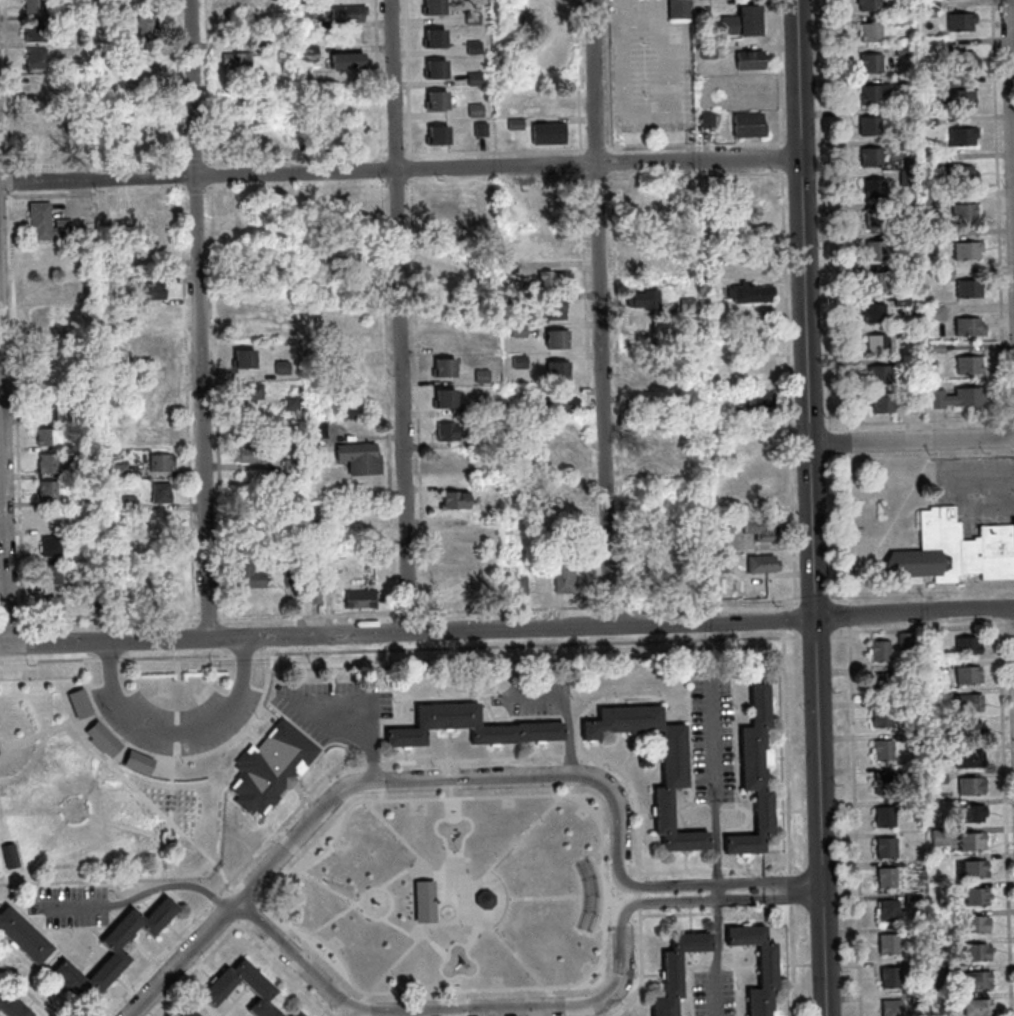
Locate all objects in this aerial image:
building: (233, 5)
building: (867, 5)
building: (928, 5)
building: (32, 7)
building: (432, 7)
building: (676, 9)
building: (347, 12)
building: (471, 17)
building: (900, 19)
building: (301, 21)
building: (740, 21)
building: (959, 21)
building: (145, 29)
building: (36, 32)
building: (869, 32)
building: (433, 39)
building: (273, 43)
building: (473, 47)
building: (901, 51)
building: (706, 52)
building: (307, 53)
building: (36, 58)
building: (748, 60)
building: (961, 60)
building: (235, 61)
building: (346, 61)
building: (869, 63)
building: (434, 70)
building: (473, 79)
road: (207, 80)
road: (376, 80)
road: (797, 80)
building: (958, 80)
road: (177, 81)
building: (900, 83)
road: (6, 84)
building: (37, 85)
road: (1011, 88)
building: (872, 93)
building: (956, 99)
building: (435, 101)
building: (474, 111)
building: (40, 114)
building: (903, 114)
building: (926, 119)
building: (706, 120)
building: (514, 125)
building: (747, 125)
building: (868, 126)
building: (479, 129)
building: (547, 134)
building: (436, 135)
building: (961, 136)
building: (904, 144)
building: (39, 145)
road: (493, 152)
road: (579, 152)
road: (409, 157)
building: (870, 157)
road: (195, 158)
building: (928, 160)
road: (94, 161)
road: (2, 164)
road: (580, 164)
road: (409, 168)
road: (379, 169)
road: (399, 171)
road: (210, 173)
road: (180, 174)
building: (961, 177)
building: (906, 178)
road: (9, 179)
road: (580, 179)
road: (493, 182)
road: (181, 187)
road: (195, 188)
building: (873, 188)
road: (95, 191)
road: (3, 195)
building: (930, 198)
building: (905, 207)
building: (964, 212)
road: (410, 214)
road: (840, 215)
building: (446, 217)
road: (997, 218)
building: (875, 219)
building: (46, 223)
road: (581, 224)
building: (932, 236)
building: (908, 239)
building: (873, 250)
building: (966, 250)
road: (186, 262)
building: (508, 269)
building: (706, 271)
building: (908, 271)
building: (942, 273)
building: (553, 279)
building: (874, 281)
building: (44, 289)
building: (967, 289)
building: (154, 290)
building: (749, 293)
building: (81, 294)
building: (530, 296)
building: (642, 299)
road: (785, 301)
building: (900, 301)
road: (412, 303)
building: (688, 304)
building: (285, 307)
building: (554, 309)
building: (873, 312)
road: (598, 313)
building: (934, 313)
building: (154, 315)
road: (398, 316)
building: (42, 317)
road: (197, 319)
building: (244, 322)
road: (585, 327)
building: (967, 327)
building: (74, 330)
building: (517, 331)
building: (555, 339)
building: (154, 344)
building: (876, 344)
building: (45, 348)
building: (934, 348)
building: (655, 351)
building: (757, 356)
building: (82, 360)
building: (243, 360)
building: (518, 362)
building: (967, 365)
building: (280, 368)
building: (442, 368)
building: (555, 371)
building: (877, 375)
building: (481, 376)
building: (46, 379)
building: (157, 389)
building: (248, 392)
road: (385, 395)
building: (955, 397)
building: (443, 400)
building: (759, 400)
road: (217, 402)
building: (290, 402)
building: (556, 403)
building: (880, 403)
building: (47, 407)
building: (481, 408)
road: (15, 409)
building: (351, 409)
building: (733, 412)
street lamp: (826, 415)
building: (76, 416)
road: (930, 420)
building: (157, 424)
building: (316, 430)
building: (445, 431)
building: (48, 436)
road: (187, 440)
building: (479, 440)
road: (910, 440)
road: (416, 441)
building: (640, 441)
road: (847, 441)
building: (295, 443)
building: (247, 450)
road: (920, 457)
building: (358, 458)
road: (817, 460)
building: (48, 461)
building: (162, 461)
building: (560, 464)
building: (290, 465)
building: (119, 469)
building: (288, 480)
building: (765, 484)
building: (513, 486)
building: (47, 490)
building: (161, 492)
building: (556, 493)
building: (664, 495)
road: (589, 500)
building: (89, 501)
building: (453, 501)
building: (127, 504)
road: (3, 517)
building: (49, 519)
building: (89, 527)
road: (849, 527)
building: (757, 529)
road: (419, 539)
building: (50, 545)
building: (953, 550)
building: (666, 555)
building: (760, 564)
building: (717, 565)
building: (52, 573)
building: (247, 577)
building: (291, 577)
building: (562, 577)
road: (421, 582)
building: (457, 584)
building: (518, 586)
road: (812, 588)
road: (920, 591)
building: (313, 596)
road: (813, 596)
building: (359, 599)
road: (709, 602)
road: (610, 606)
building: (100, 607)
building: (52, 608)
road: (410, 613)
road: (850, 614)
road: (208, 617)
road: (793, 617)
road: (108, 620)
road: (1009, 623)
road: (9, 624)
road: (926, 626)
road: (507, 630)
road: (795, 632)
road: (22, 636)
road: (815, 637)
road: (839, 638)
building: (904, 639)
building: (931, 639)
road: (528, 644)
building: (968, 644)
building: (879, 650)
road: (244, 653)
road: (176, 655)
road: (110, 658)
road: (50, 659)
road: (244, 662)
road: (110, 663)
building: (934, 667)
building: (968, 674)
building: (882, 681)
road: (178, 688)
building: (935, 697)
building: (968, 701)
building: (79, 702)
road: (302, 702)
parking lot: (330, 706)
road: (367, 706)
building: (907, 706)
road: (565, 712)
building: (882, 718)
parking lot: (139, 719)
building: (471, 723)
building: (970, 730)
road: (177, 732)
road: (39, 733)
road: (177, 735)
parking lot: (712, 736)
building: (102, 737)
building: (907, 738)
road: (3, 749)
building: (883, 749)
building: (938, 750)
road: (176, 751)
road: (372, 751)
road: (786, 755)
building: (969, 758)
road: (179, 759)
road: (558, 760)
building: (138, 762)
road: (373, 763)
building: (673, 765)
building: (271, 767)
park: (108, 771)
building: (753, 775)
building: (939, 776)
road: (531, 777)
road: (158, 780)
road: (713, 783)
building: (885, 783)
building: (972, 785)
road: (171, 790)
road: (306, 802)
road: (157, 808)
road: (312, 808)
building: (973, 812)
building: (884, 816)
road: (287, 819)
road: (854, 820)
road: (1005, 820)
road: (535, 824)
road: (392, 831)
building: (940, 835)
building: (972, 840)
building: (886, 847)
building: (922, 852)
road: (304, 854)
building: (972, 867)
road: (737, 868)
road: (716, 869)
road: (674, 871)
building: (887, 876)
road: (603, 879)
road: (394, 880)
road: (745, 882)
road: (170, 885)
road: (638, 886)
road: (326, 887)
road: (375, 888)
road: (791, 889)
road: (745, 890)
road: (806, 890)
park: (452, 893)
road: (639, 893)
road: (628, 894)
building: (485, 896)
road: (616, 896)
building: (977, 896)
road: (213, 897)
road: (745, 899)
building: (911, 900)
road: (509, 901)
road: (640, 902)
building: (424, 904)
road: (505, 904)
parking lot: (72, 907)
road: (72, 909)
road: (117, 909)
building: (886, 909)
road: (736, 912)
road: (249, 913)
road: (717, 913)
road: (677, 914)
road: (229, 916)
road: (335, 919)
building: (975, 924)
road: (395, 928)
road: (717, 932)
building: (23, 935)
road: (181, 937)
road: (318, 939)
road: (188, 943)
building: (888, 943)
building: (920, 943)
road: (58, 947)
building: (114, 948)
road: (719, 951)
building: (976, 951)
road: (157, 958)
road: (181, 958)
road: (792, 960)
road: (2, 962)
road: (712, 962)
road: (157, 963)
building: (917, 966)
road: (195, 967)
road: (283, 968)
road: (526, 968)
building: (758, 968)
road: (641, 969)
road: (390, 970)
road: (168, 971)
building: (676, 971)
road: (734, 976)
building: (889, 976)
building: (939, 978)
building: (976, 979)
road: (691, 980)
building: (258, 985)
road: (25, 992)
road: (369, 992)
parking lot: (713, 994)
road: (715, 994)
road: (197, 996)
building: (919, 996)
building: (944, 1002)
road: (358, 1005)
building: (12, 1007)
road: (144, 1007)
building: (890, 1007)
building: (977, 1007)
road: (532, 1008)
building: (187, 1012)
road: (150, 1013)
building: (299, 1013)
road: (351, 1013)

